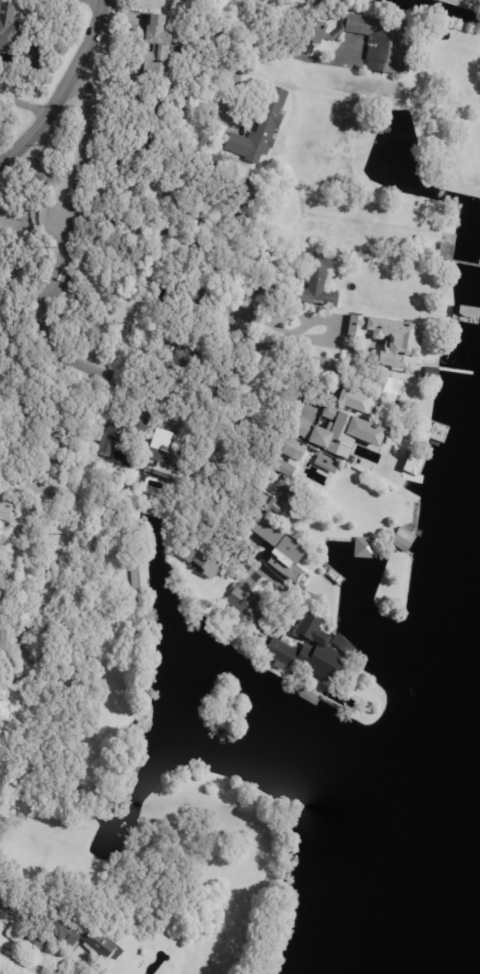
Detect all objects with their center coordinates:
building: (10, 27)
building: (370, 39)
road: (257, 42)
building: (154, 48)
road: (62, 90)
road: (24, 102)
building: (268, 122)
building: (471, 190)
building: (240, 206)
road: (175, 229)
building: (430, 255)
building: (226, 266)
building: (313, 278)
road: (50, 286)
building: (197, 299)
building: (393, 339)
building: (357, 349)
building: (182, 359)
building: (371, 395)
building: (335, 430)
building: (112, 431)
building: (270, 445)
road: (202, 453)
building: (161, 456)
building: (319, 458)
building: (278, 501)
building: (8, 510)
building: (271, 533)
building: (399, 543)
building: (3, 550)
building: (201, 556)
building: (292, 565)
building: (139, 578)
building: (247, 604)
building: (271, 622)
building: (308, 651)
road: (12, 912)
building: (69, 927)

